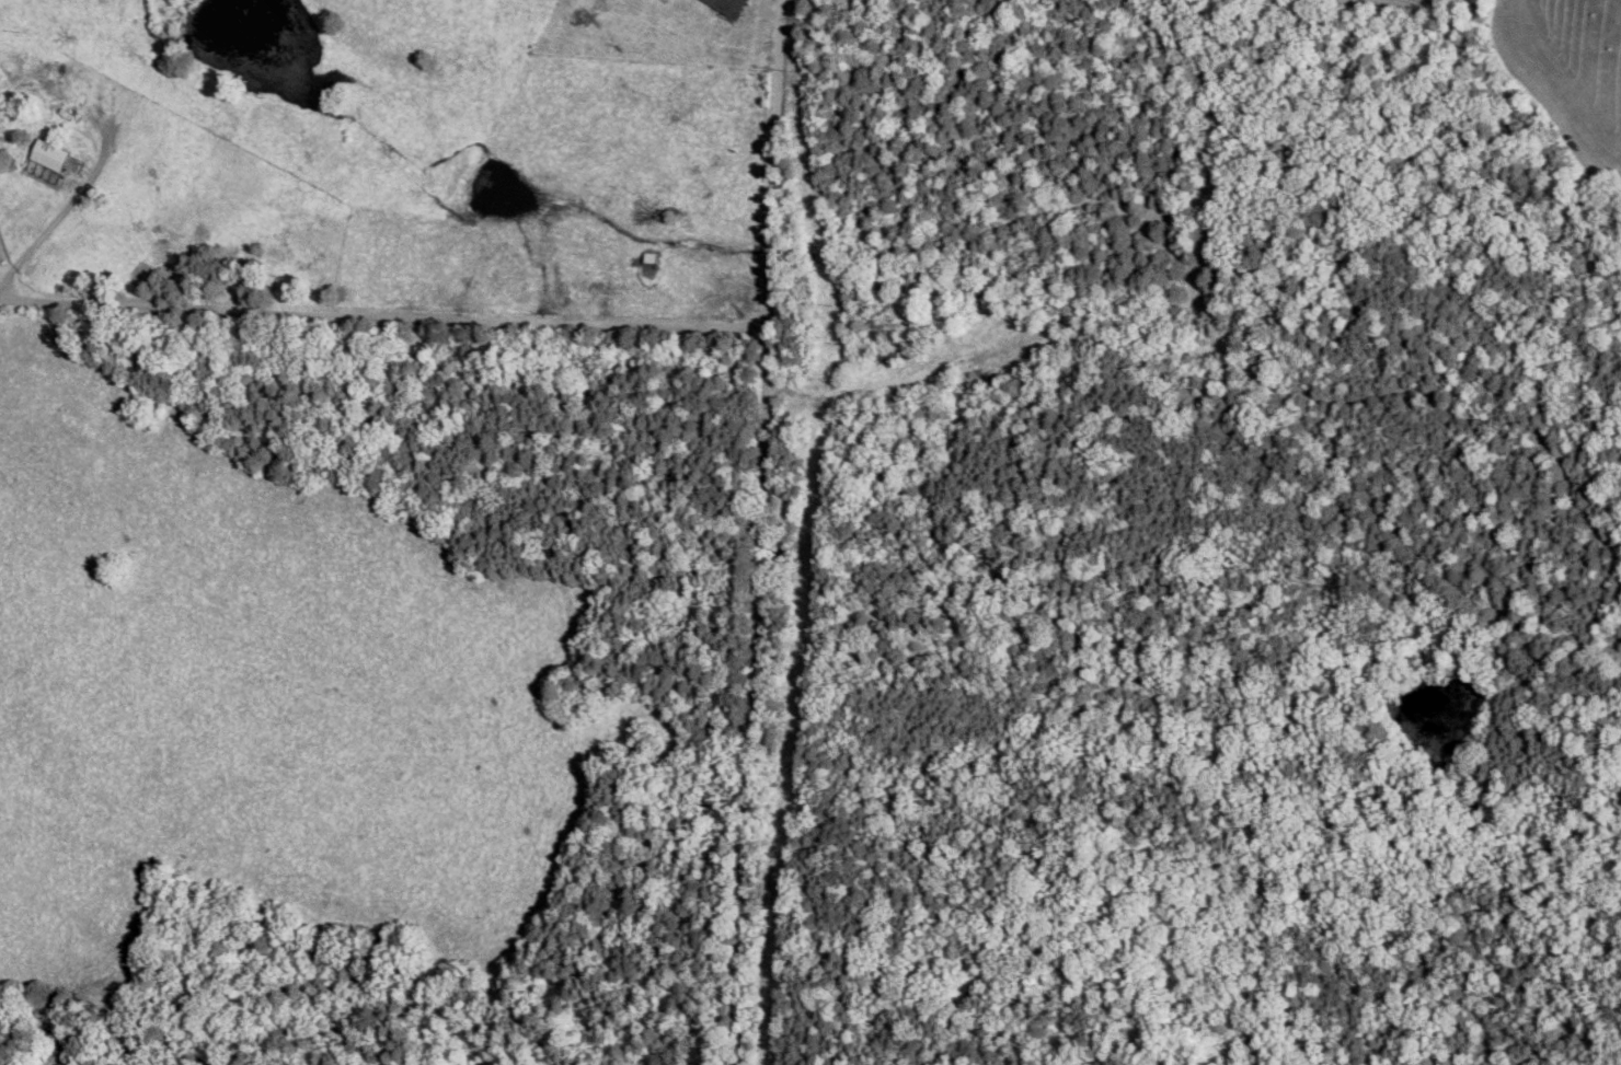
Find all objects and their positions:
building: (726, 5)
road: (250, 31)
building: (48, 155)
road: (768, 532)
road: (361, 974)

